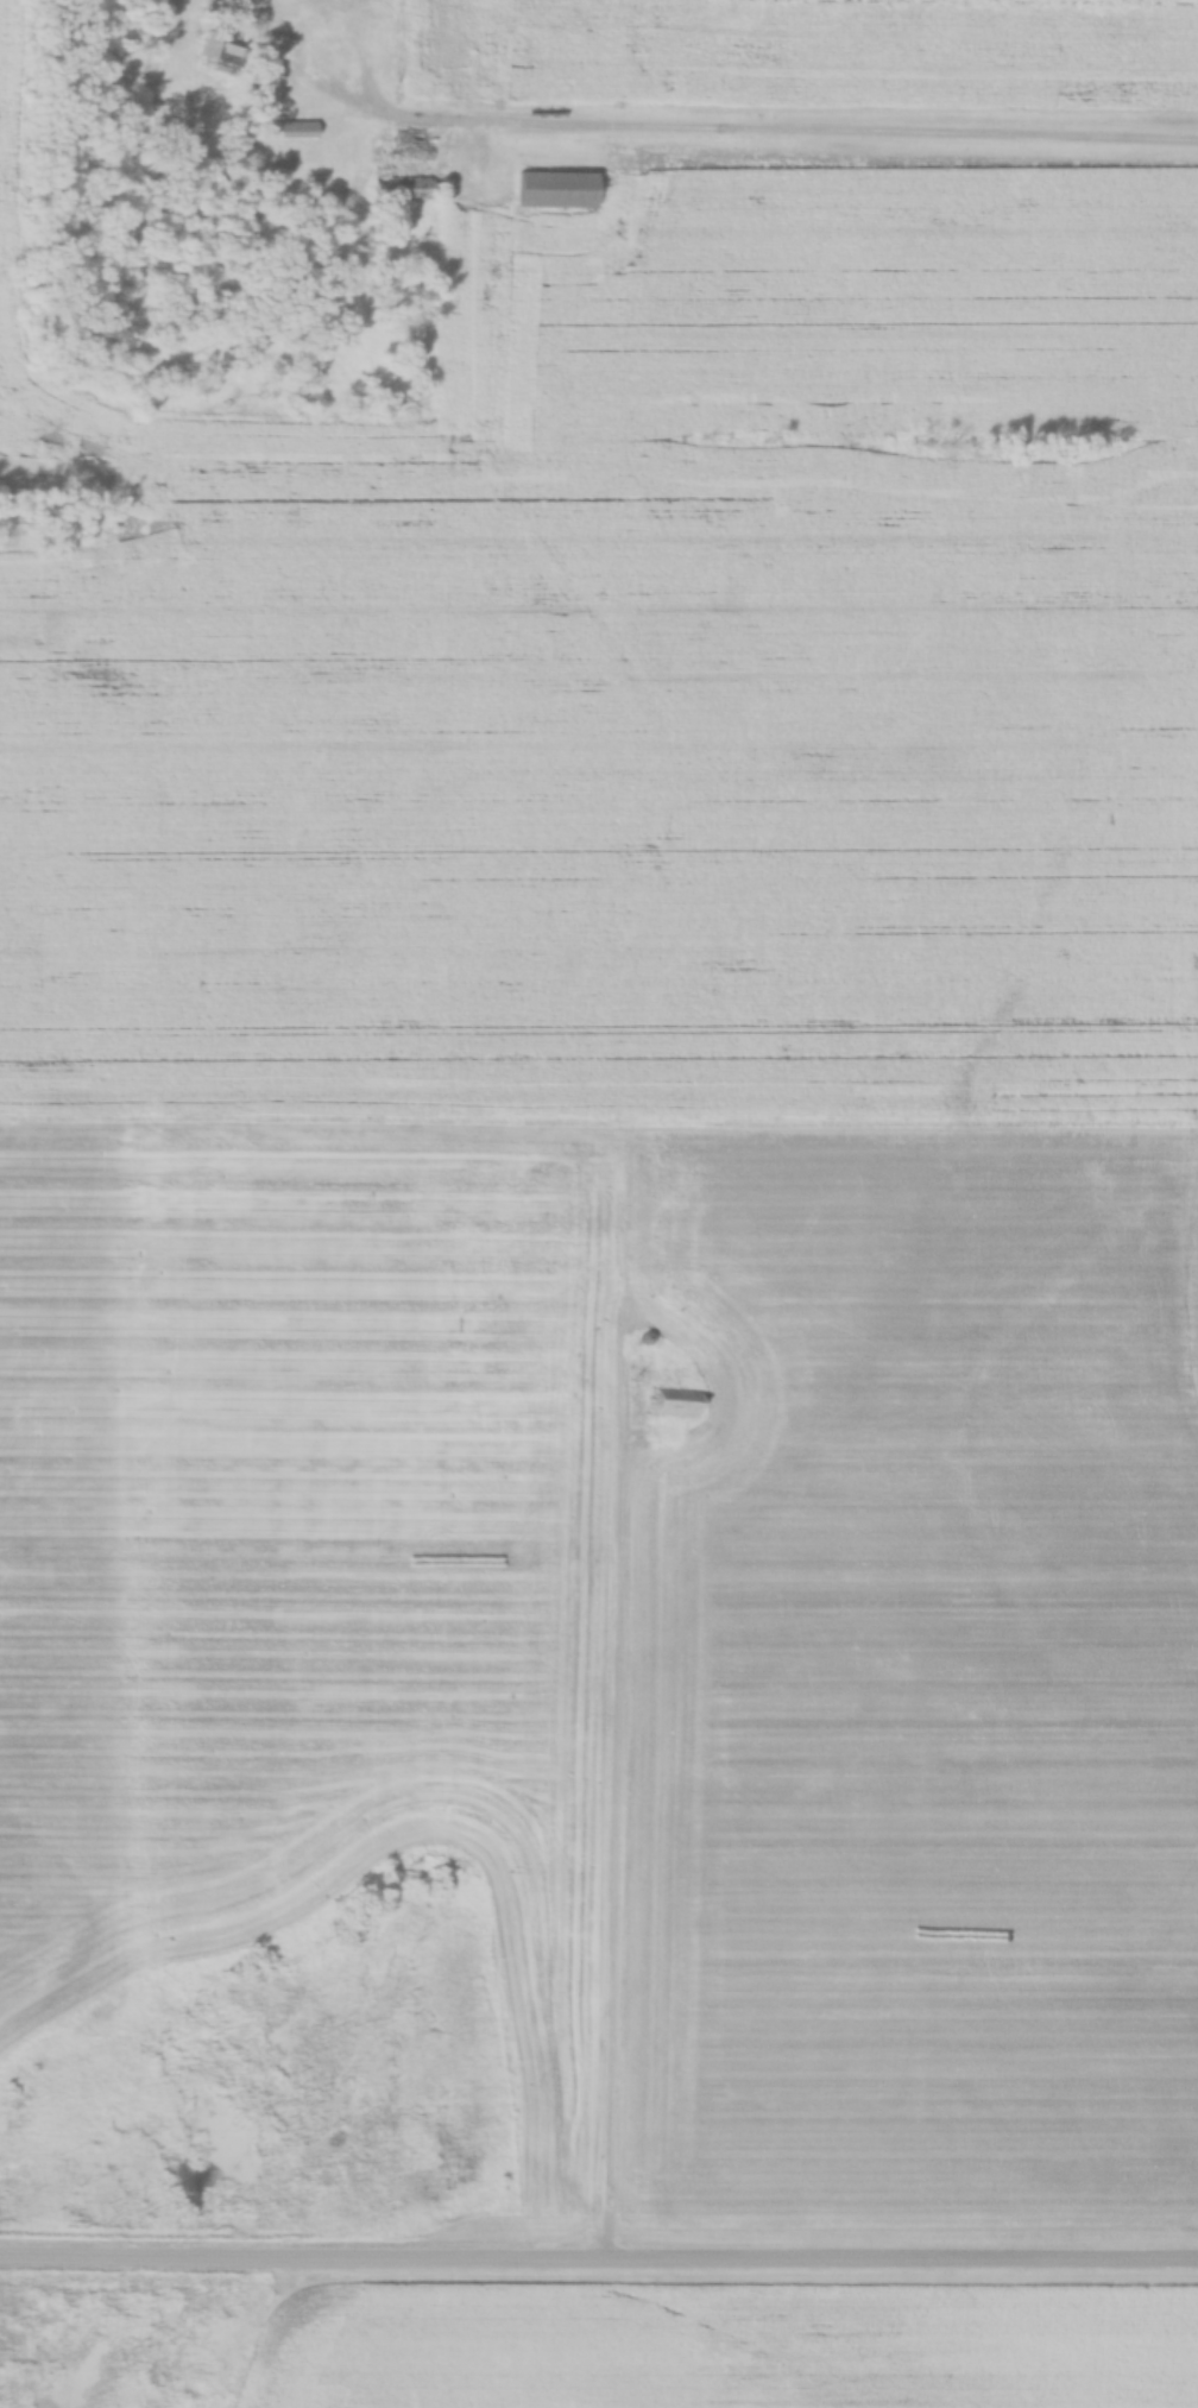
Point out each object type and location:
building: (219, 49)
building: (292, 130)
building: (403, 189)
building: (556, 189)
building: (668, 1402)
road: (599, 2255)

